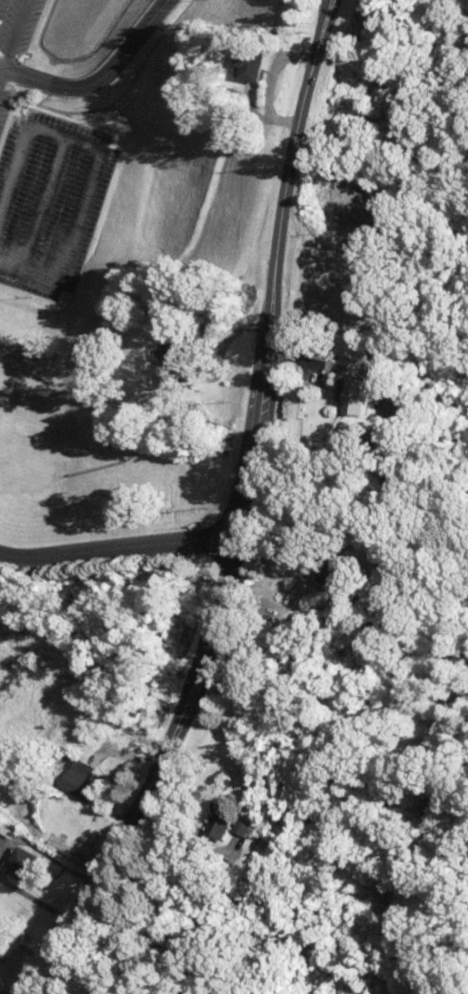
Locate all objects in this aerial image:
building: (259, 67)
road: (96, 79)
building: (178, 366)
building: (360, 397)
road: (212, 516)
road: (104, 550)
building: (251, 828)

